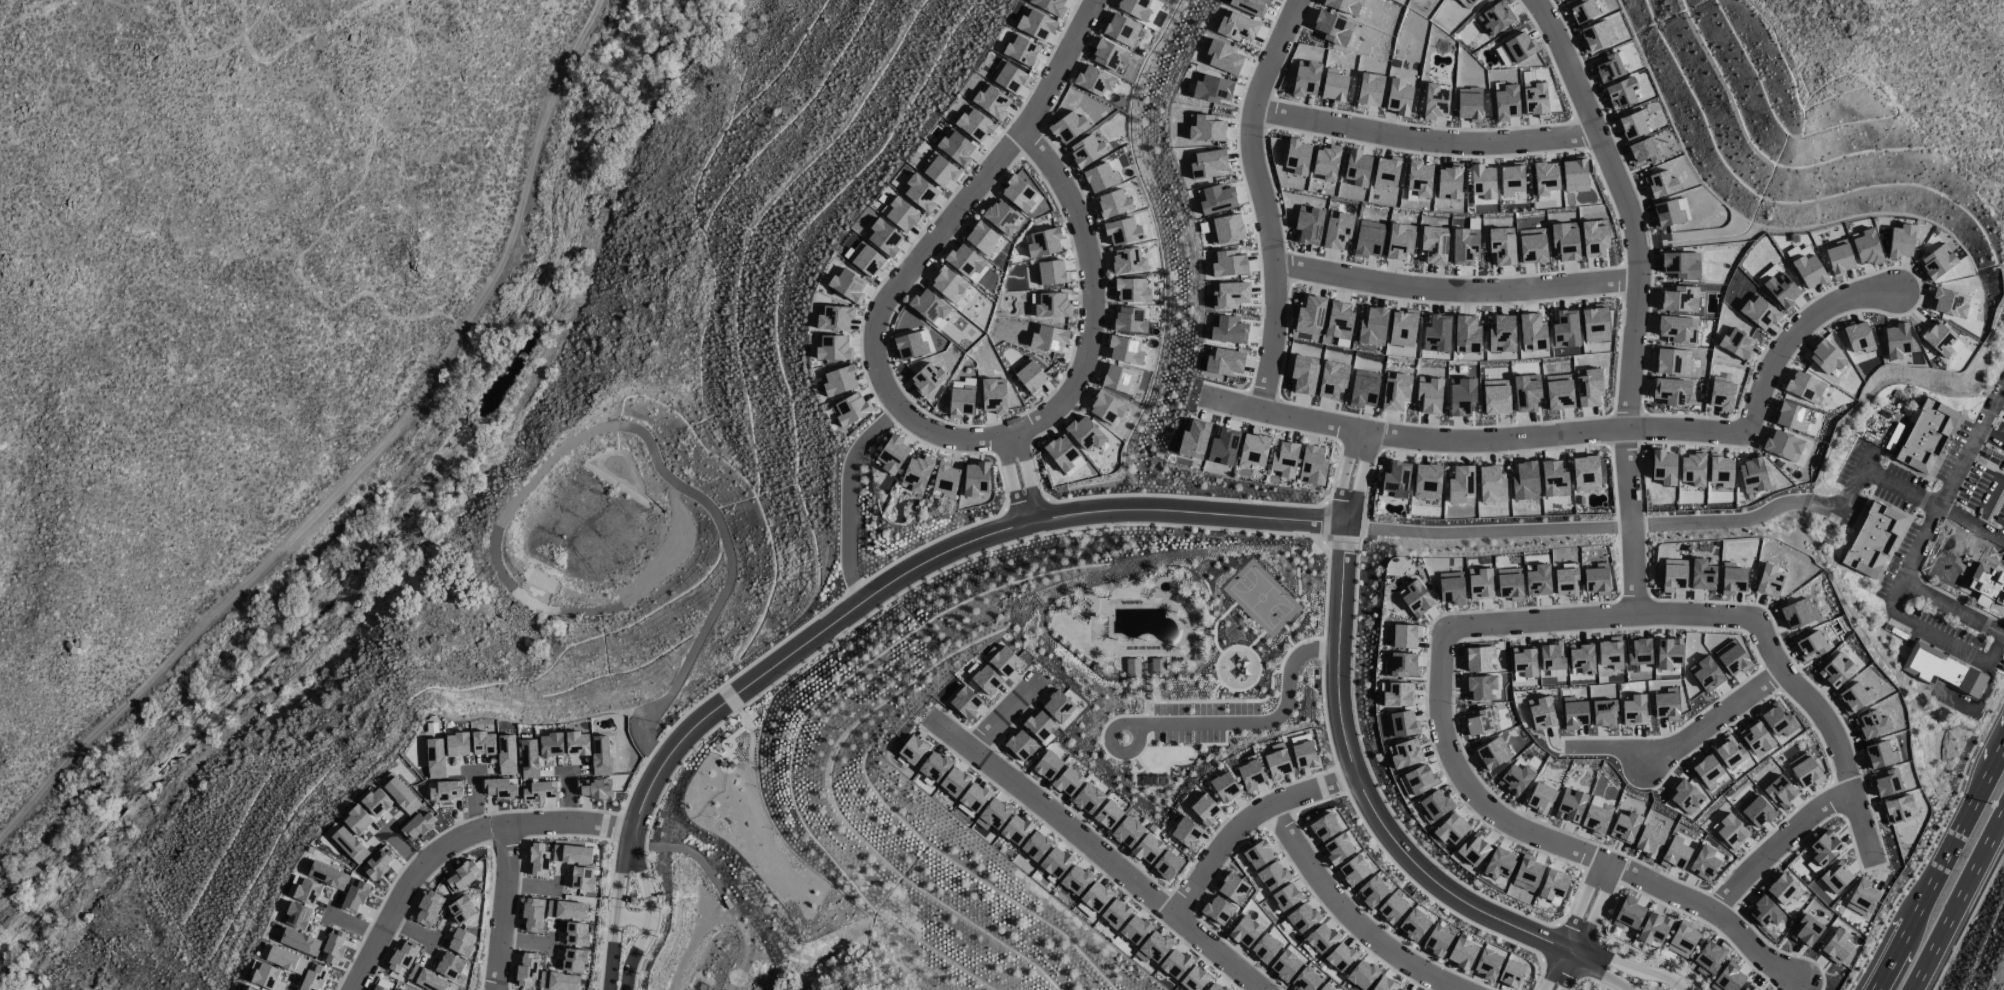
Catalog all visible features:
building: (1049, 5)
building: (1134, 7)
building: (1035, 24)
building: (1120, 29)
road: (292, 46)
building: (1020, 50)
building: (1108, 54)
building: (1222, 57)
road: (1055, 66)
building: (1008, 77)
building: (1094, 80)
building: (1212, 88)
building: (990, 101)
building: (974, 124)
building: (1067, 127)
building: (1206, 128)
building: (1637, 137)
road: (1422, 140)
building: (955, 147)
building: (1085, 150)
building: (1325, 162)
building: (1207, 163)
building: (1357, 167)
building: (938, 170)
building: (1385, 172)
building: (1099, 177)
building: (919, 192)
building: (1018, 193)
building: (1217, 199)
road: (1260, 200)
building: (1112, 204)
road: (1623, 205)
building: (900, 213)
building: (1001, 217)
building: (1308, 225)
road: (323, 228)
building: (1225, 229)
building: (1337, 230)
building: (1122, 231)
building: (883, 237)
building: (981, 238)
building: (1368, 239)
building: (1399, 241)
building: (1901, 241)
building: (1043, 243)
building: (1433, 245)
building: (1866, 247)
building: (1839, 257)
building: (865, 259)
building: (1127, 261)
building: (966, 262)
building: (1936, 262)
building: (1227, 263)
building: (1680, 265)
building: (1809, 271)
building: (1050, 272)
building: (847, 284)
building: (948, 284)
building: (1132, 290)
road: (1455, 290)
building: (1781, 290)
road: (888, 293)
building: (1229, 295)
building: (1679, 298)
building: (1949, 302)
building: (1052, 305)
road: (1092, 310)
building: (1758, 311)
building: (1310, 314)
building: (834, 317)
building: (1128, 320)
building: (1339, 320)
building: (1372, 327)
building: (1402, 328)
building: (1227, 329)
building: (1676, 329)
building: (1436, 334)
building: (1857, 336)
building: (1048, 338)
building: (1938, 338)
building: (1896, 340)
building: (1736, 344)
building: (909, 346)
building: (832, 347)
building: (1125, 350)
building: (1825, 356)
building: (1671, 361)
building: (1224, 362)
building: (1030, 376)
building: (1118, 378)
building: (838, 380)
building: (1803, 386)
building: (1588, 387)
building: (1395, 391)
building: (1526, 392)
building: (1559, 392)
building: (1671, 392)
building: (1428, 394)
building: (1720, 395)
building: (1461, 396)
building: (1493, 399)
building: (1105, 407)
building: (850, 409)
building: (1791, 416)
road: (1582, 432)
building: (1085, 434)
road: (585, 435)
road: (1991, 435)
building: (1928, 439)
building: (1782, 446)
building: (1252, 450)
building: (892, 454)
building: (1063, 455)
building: (1284, 459)
road: (1865, 461)
road: (366, 464)
building: (1312, 465)
building: (1663, 467)
building: (1692, 469)
building: (1720, 470)
building: (916, 473)
building: (1585, 473)
road: (1350, 475)
building: (1751, 475)
building: (945, 479)
road: (1016, 479)
building: (1395, 479)
building: (1554, 479)
building: (1426, 481)
building: (1525, 481)
building: (1491, 484)
building: (1460, 485)
road: (1945, 494)
road: (1999, 494)
road: (845, 497)
road: (1184, 497)
road: (1990, 500)
road: (1024, 504)
road: (1932, 505)
river: (385, 511)
road: (1632, 520)
road: (1321, 523)
road: (1595, 528)
road: (933, 540)
building: (1875, 542)
road: (1338, 545)
road: (934, 559)
building: (1673, 575)
building: (1702, 575)
building: (1596, 579)
building: (1732, 579)
road: (1947, 579)
building: (1537, 580)
building: (1769, 580)
building: (1479, 583)
building: (1509, 583)
road: (856, 585)
building: (1986, 586)
road: (1325, 589)
building: (1451, 589)
park: (1260, 598)
building: (1415, 598)
road: (1951, 607)
building: (1795, 613)
road: (864, 616)
building: (1404, 635)
road: (1940, 635)
building: (1810, 646)
road: (1996, 647)
road: (1323, 648)
building: (1638, 650)
building: (1610, 652)
building: (1668, 653)
building: (1551, 656)
building: (1731, 657)
building: (1477, 658)
building: (1581, 658)
park: (1181, 659)
building: (1002, 660)
building: (1524, 661)
building: (1157, 666)
building: (1132, 667)
building: (1836, 669)
building: (1947, 672)
building: (1705, 674)
building: (986, 680)
road: (1794, 684)
building: (1479, 687)
road: (716, 688)
building: (1398, 695)
building: (1854, 697)
building: (965, 702)
road: (1979, 703)
building: (1666, 704)
building: (1058, 706)
building: (1633, 710)
building: (1573, 713)
building: (1603, 713)
road: (1000, 715)
building: (1777, 720)
building: (1477, 722)
road: (1253, 724)
building: (1401, 724)
building: (1871, 724)
building: (1039, 725)
building: (1755, 737)
road: (1683, 739)
building: (482, 743)
building: (577, 743)
building: (457, 744)
building: (550, 744)
building: (1020, 745)
building: (912, 750)
building: (1729, 753)
building: (506, 754)
building: (1303, 754)
building: (1405, 754)
building: (1491, 754)
building: (600, 755)
building: (1878, 755)
road: (1643, 757)
building: (435, 758)
building: (528, 759)
building: (1277, 761)
building: (1047, 765)
building: (934, 766)
building: (1705, 770)
building: (1804, 770)
building: (1250, 775)
building: (1515, 778)
building: (1416, 780)
building: (1067, 781)
building: (954, 782)
road: (1374, 782)
building: (1885, 782)
building: (1223, 787)
building: (499, 788)
building: (594, 788)
building: (537, 790)
building: (1779, 791)
building: (445, 792)
road: (1361, 792)
road: (1478, 793)
building: (401, 795)
road: (1288, 796)
building: (1684, 796)
building: (973, 797)
building: (1088, 798)
building: (1540, 798)
building: (376, 802)
building: (1570, 805)
building: (1434, 806)
building: (1204, 809)
building: (1898, 809)
building: (1755, 810)
building: (993, 814)
building: (1107, 814)
building: (1595, 818)
building: (357, 820)
park: (755, 823)
building: (418, 825)
road: (616, 827)
building: (1324, 827)
building: (1015, 829)
building: (1450, 829)
building: (1127, 831)
building: (1731, 831)
building: (1186, 832)
road: (1930, 841)
road: (454, 842)
road: (1222, 842)
road: (1776, 844)
building: (349, 845)
building: (1035, 846)
road: (1378, 847)
building: (1147, 848)
building: (1824, 848)
building: (1338, 849)
building: (1473, 849)
building: (571, 853)
road: (1096, 854)
building: (1257, 855)
building: (538, 860)
building: (379, 862)
building: (1055, 862)
building: (1166, 865)
road: (1939, 867)
building: (1353, 870)
building: (1527, 873)
building: (328, 875)
building: (462, 876)
building: (1272, 876)
building: (1835, 876)
building: (582, 878)
building: (1076, 879)
road: (1190, 882)
building: (1553, 886)
building: (1232, 888)
building: (1782, 889)
building: (307, 891)
building: (1372, 891)
building: (354, 895)
building: (1095, 896)
building: (1861, 896)
building: (1285, 897)
road: (1955, 897)
building: (428, 908)
road: (497, 908)
building: (1391, 908)
building: (461, 909)
building: (566, 910)
road: (617, 910)
building: (1217, 910)
building: (1763, 911)
road: (644, 913)
building: (1115, 913)
building: (533, 914)
road: (1347, 914)
building: (297, 915)
road: (605, 915)
building: (1302, 917)
road: (631, 918)
road: (1968, 920)
building: (1413, 924)
road: (1584, 927)
building: (1653, 928)
building: (1134, 929)
building: (1245, 931)
road: (1576, 931)
building: (576, 934)
building: (1321, 936)
building: (1682, 939)
building: (300, 941)
building: (1437, 941)
building: (461, 942)
building: (334, 946)
building: (1153, 947)
building: (1265, 947)
building: (1461, 953)
building: (402, 956)
building: (1340, 957)
building: (1708, 958)
building: (286, 960)
building: (574, 960)
building: (1175, 963)
building: (1487, 963)
road: (1648, 963)
road: (1630, 964)
building: (449, 965)
building: (1285, 965)
building: (526, 969)
road: (1560, 969)
road: (1603, 971)
building: (1510, 973)
building: (1361, 974)
building: (265, 975)
building: (313, 978)
building: (1193, 979)
building: (1305, 980)
building: (558, 981)
building: (436, 982)
road: (1596, 983)
building: (1384, 984)
building: (1215, 986)
building: (379, 987)
building: (1325, 987)
road: (1675, 987)
building: (251, 988)
building: (1403, 988)
building: (396, 989)

